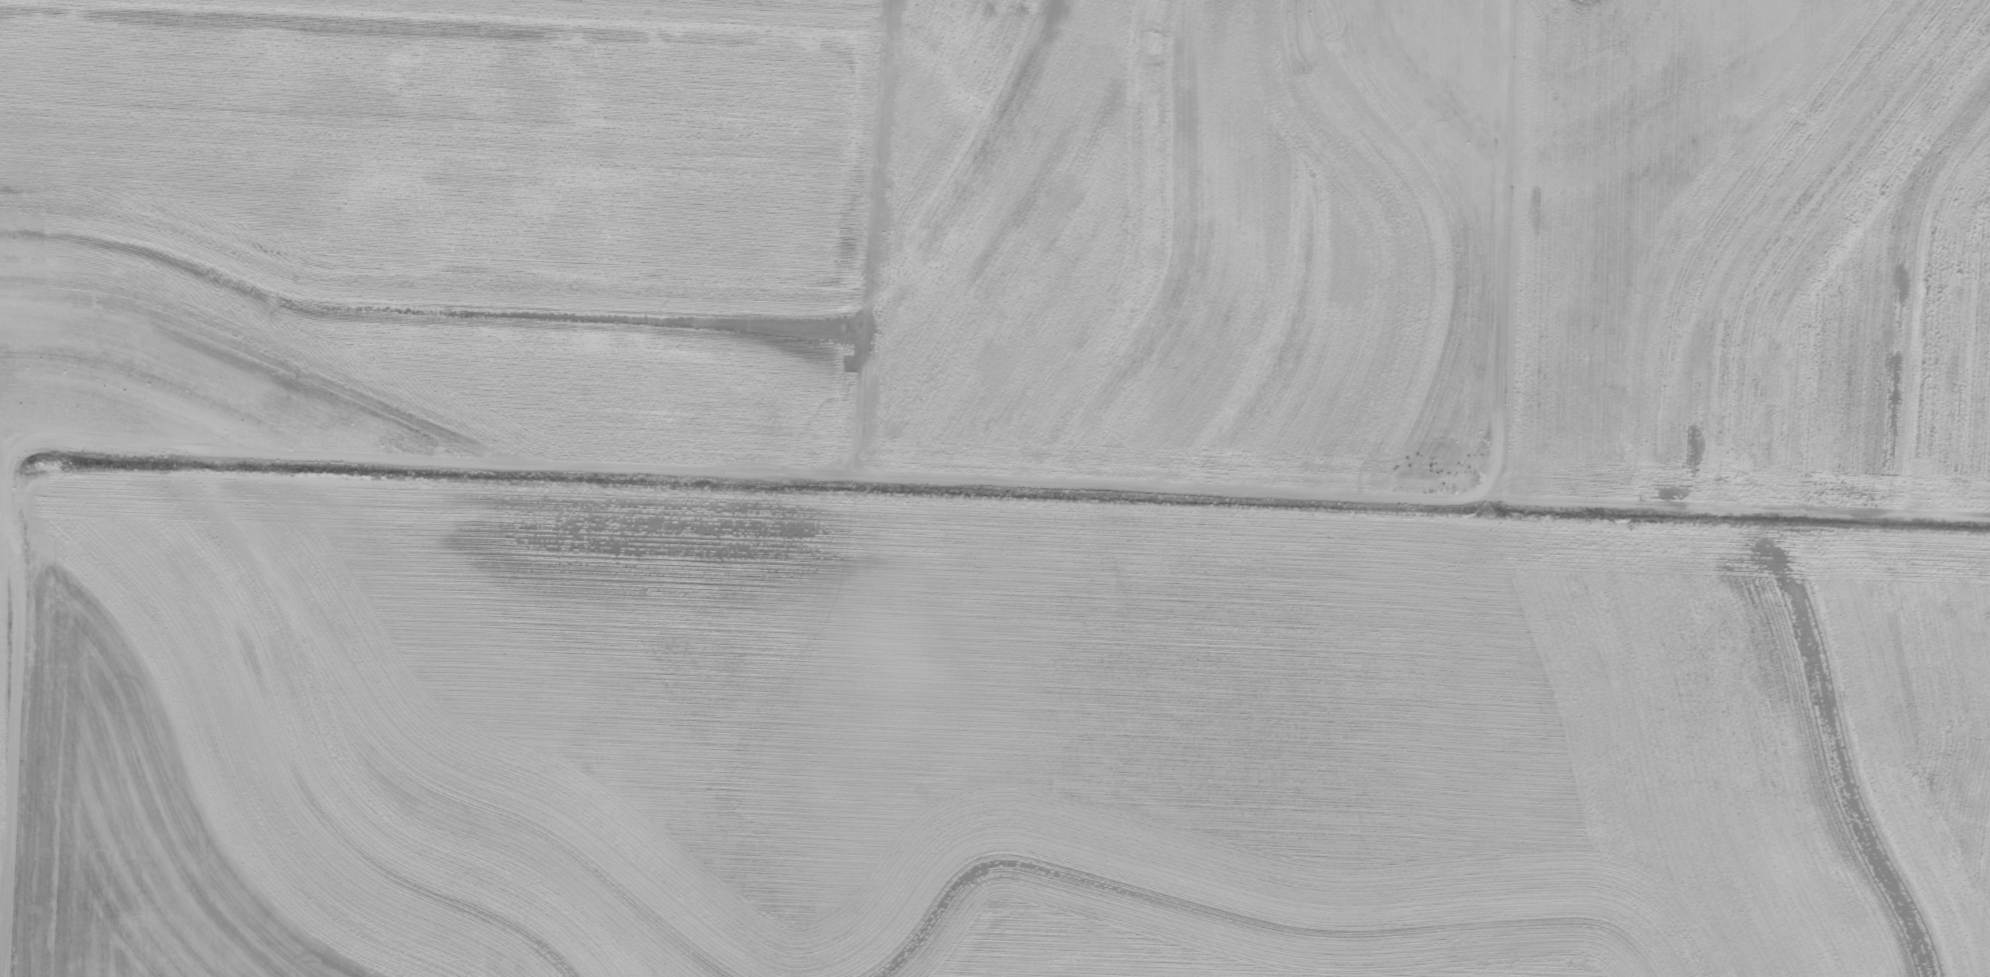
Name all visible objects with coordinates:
road: (454, 466)

